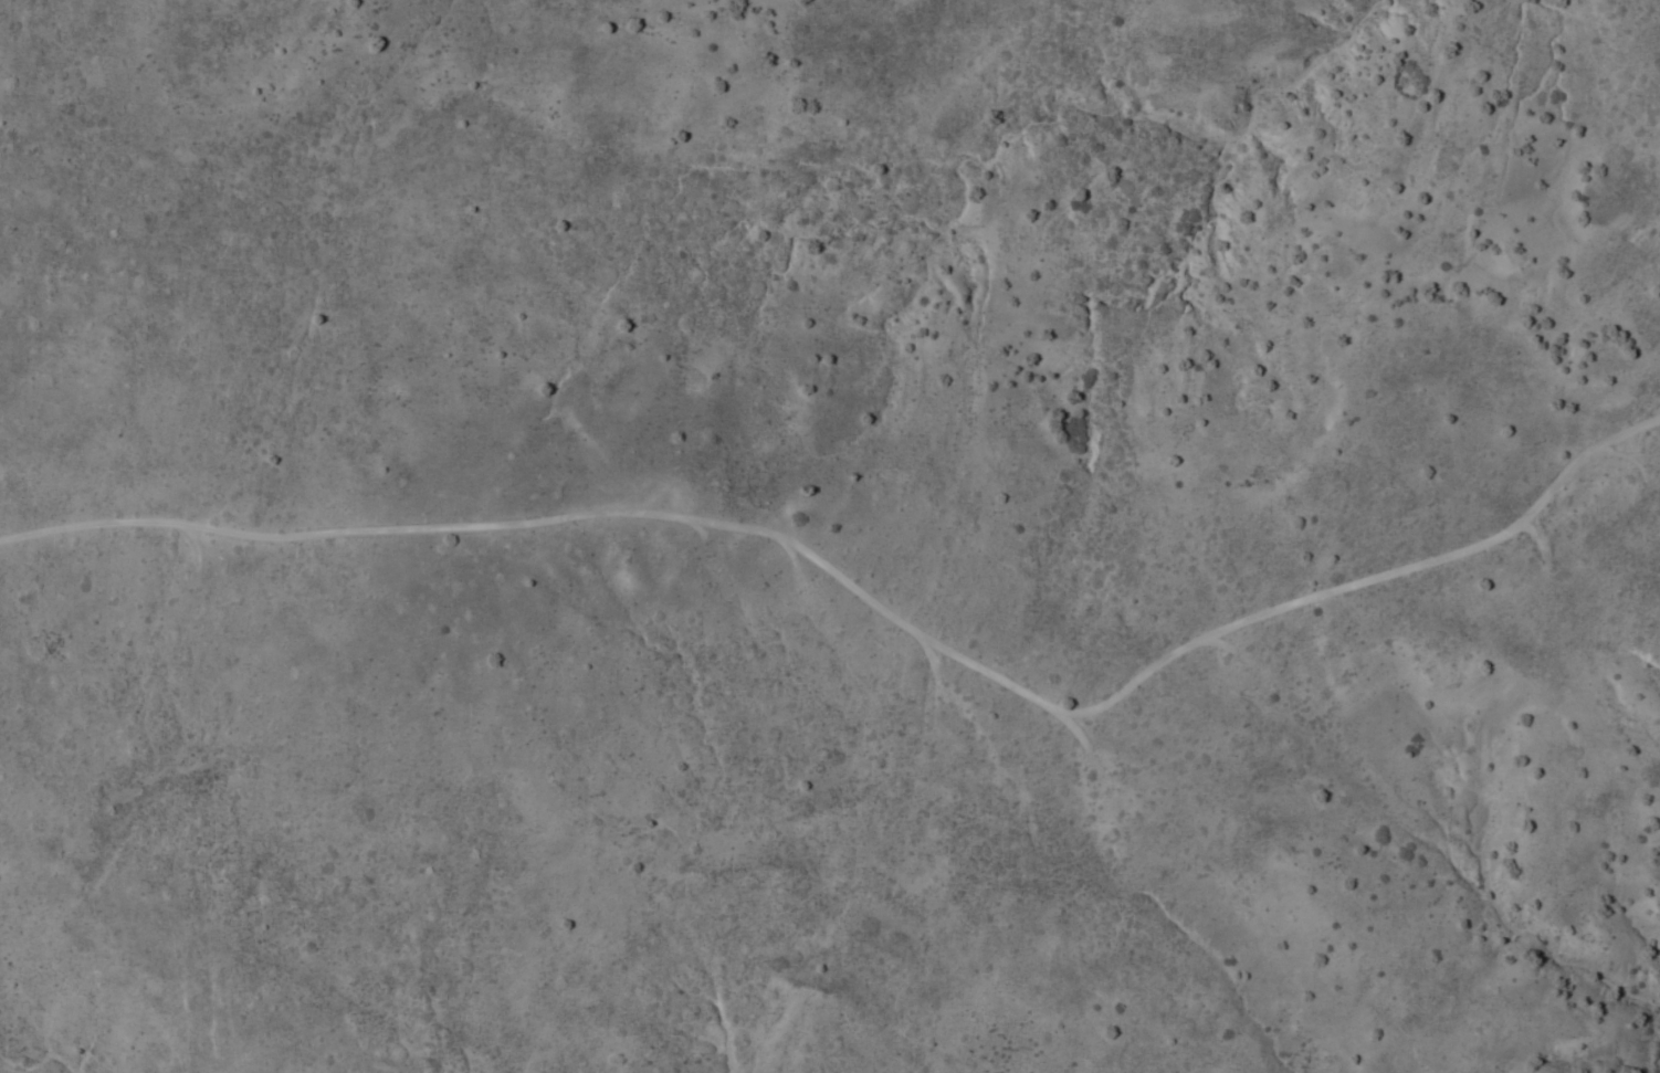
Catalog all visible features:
road: (876, 579)

